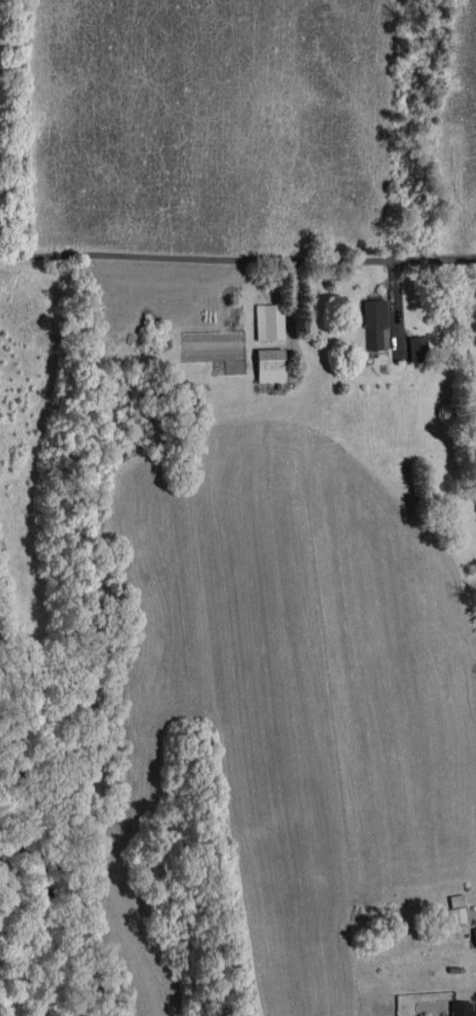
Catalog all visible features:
road: (237, 258)
building: (269, 321)
building: (374, 323)
building: (418, 348)
building: (270, 365)
building: (456, 900)
building: (457, 915)
building: (475, 936)
building: (461, 1008)

